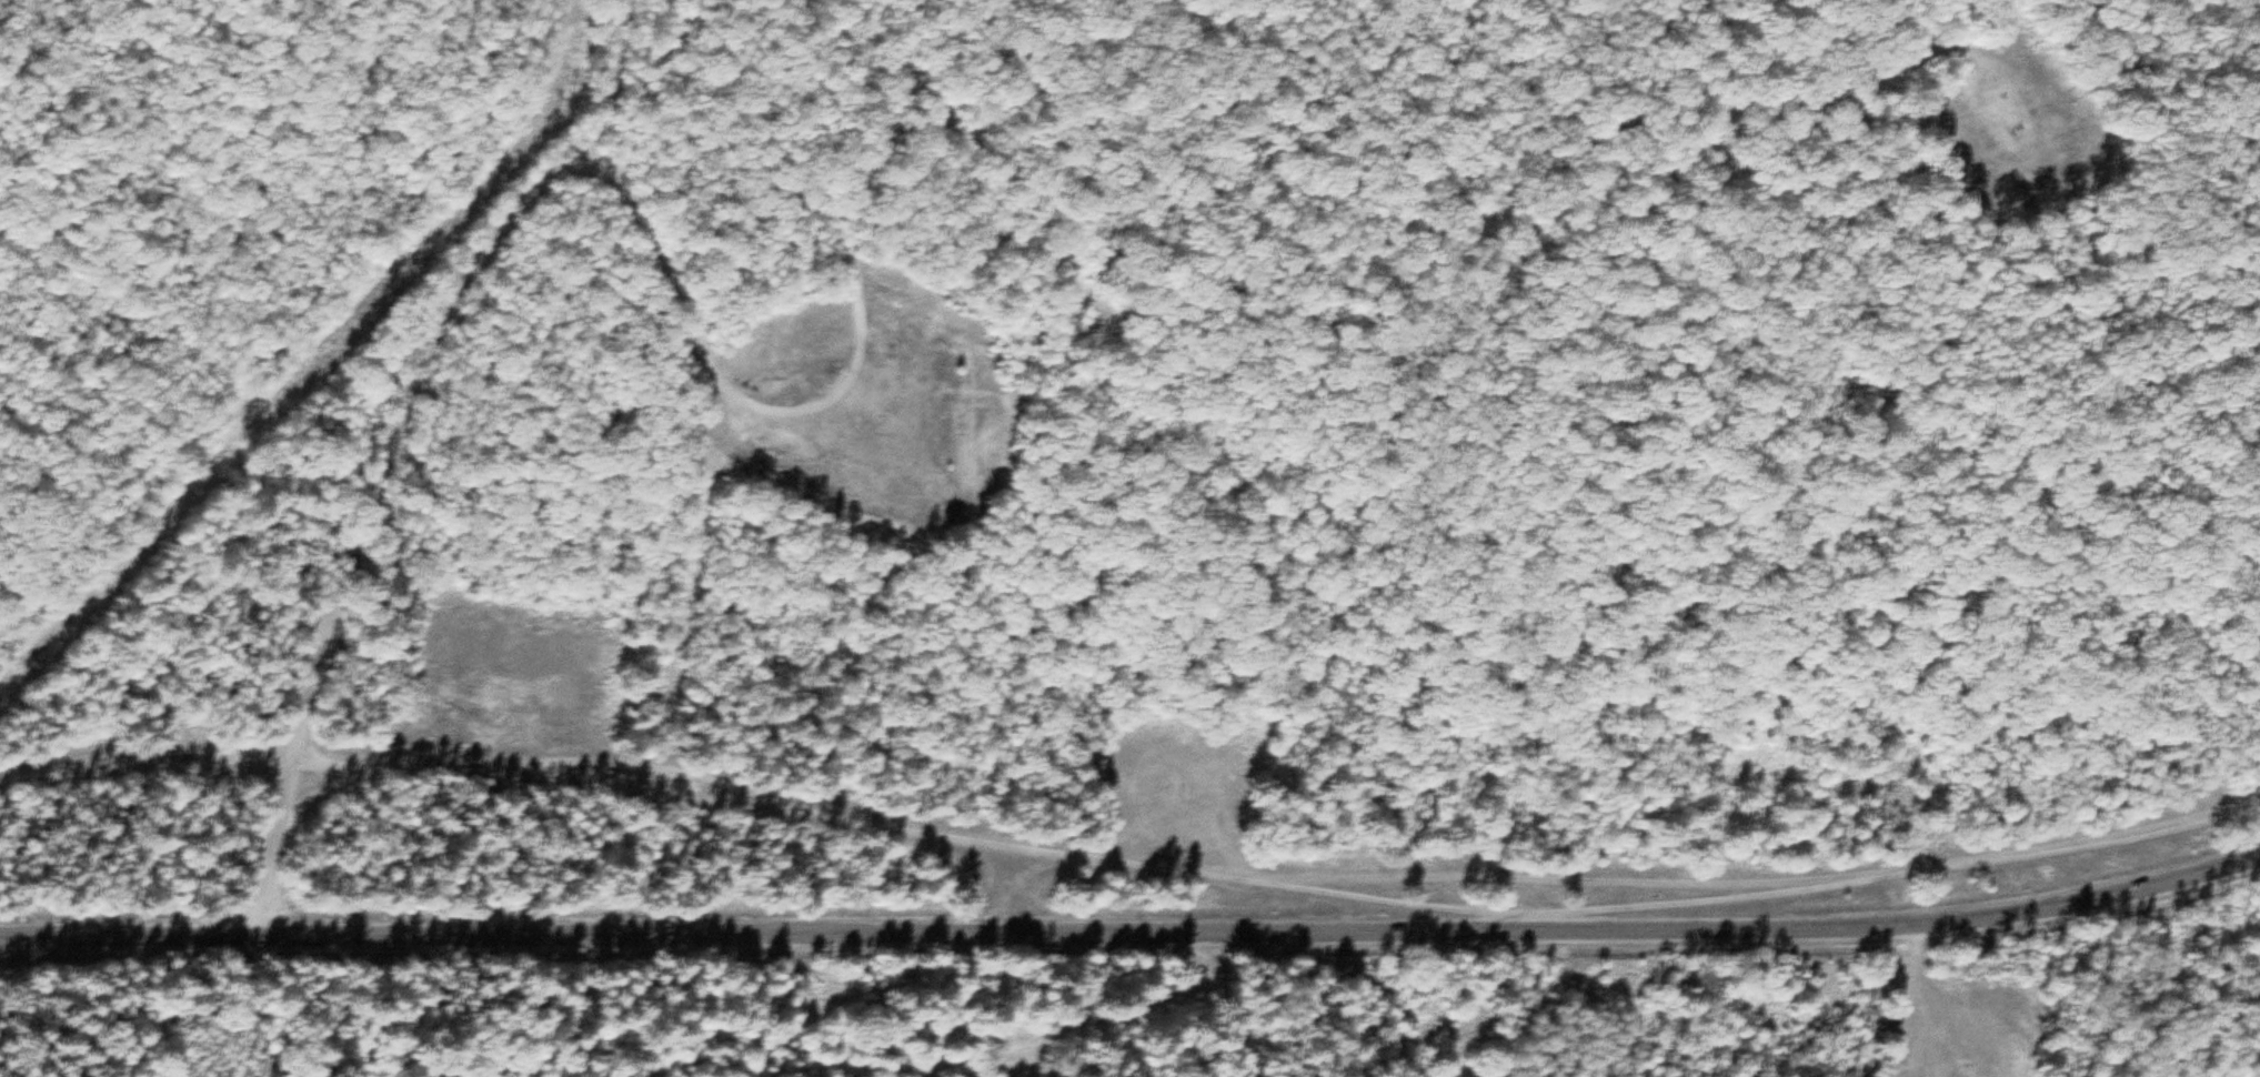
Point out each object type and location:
road: (731, 87)
petroleum well: (2018, 124)
building: (953, 368)
road: (835, 389)
building: (955, 439)
road: (390, 442)
building: (906, 494)
road: (148, 767)
road: (1278, 885)
road: (1751, 934)
road: (617, 935)

